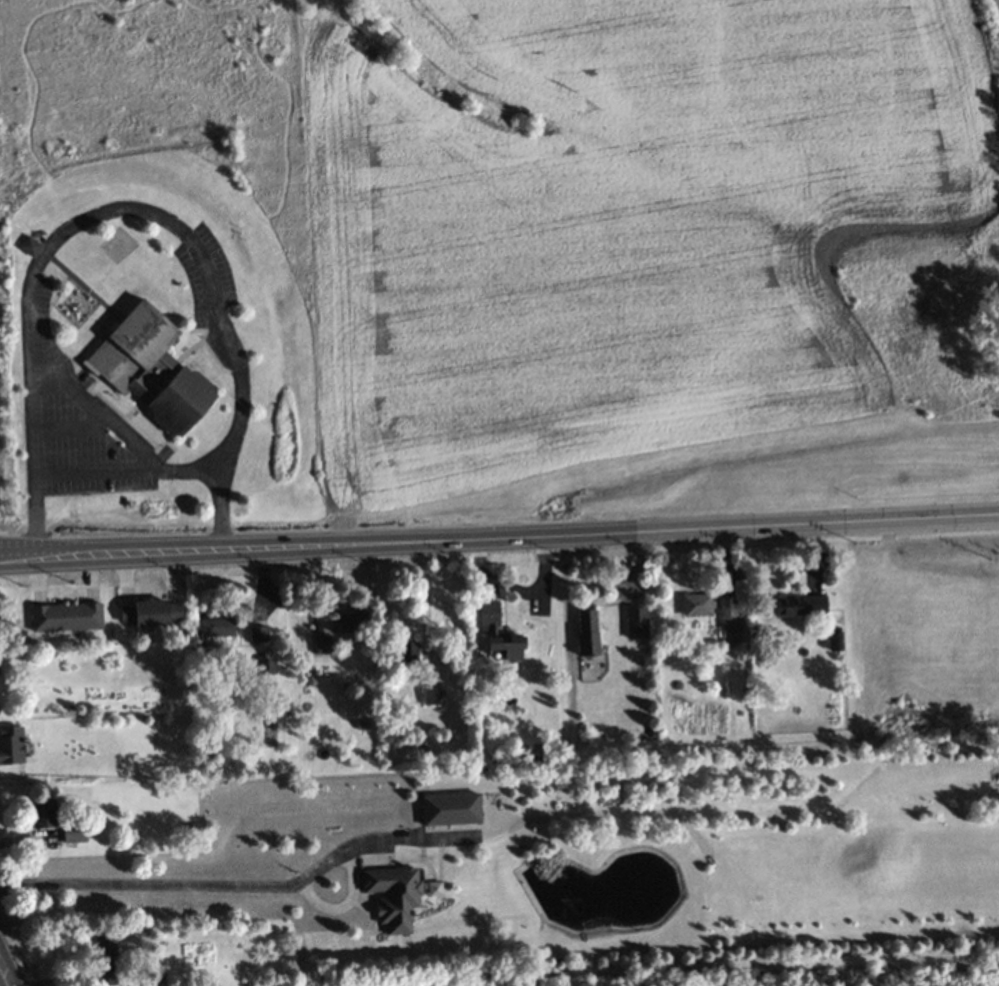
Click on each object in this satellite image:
road: (121, 207)
crop: (617, 225)
building: (28, 246)
road: (204, 346)
road: (186, 349)
road: (76, 361)
building: (150, 368)
road: (94, 412)
road: (126, 414)
road: (70, 427)
road: (125, 471)
road: (499, 540)
road: (817, 543)
road: (634, 548)
road: (424, 605)
building: (696, 605)
building: (800, 605)
building: (150, 613)
building: (65, 617)
building: (488, 617)
building: (351, 622)
building: (635, 622)
building: (729, 623)
building: (215, 627)
building: (586, 632)
building: (257, 633)
building: (835, 638)
building: (321, 644)
building: (506, 645)
building: (407, 652)
building: (266, 666)
building: (429, 693)
building: (11, 745)
building: (449, 809)
building: (41, 813)
road: (536, 819)
building: (73, 834)
road: (23, 839)
road: (395, 859)
road: (350, 875)
road: (430, 883)
road: (150, 884)
building: (433, 888)
building: (390, 895)
fountain: (562, 896)
road: (359, 907)
road: (429, 912)
road: (615, 926)
building: (103, 946)
road: (2, 980)

